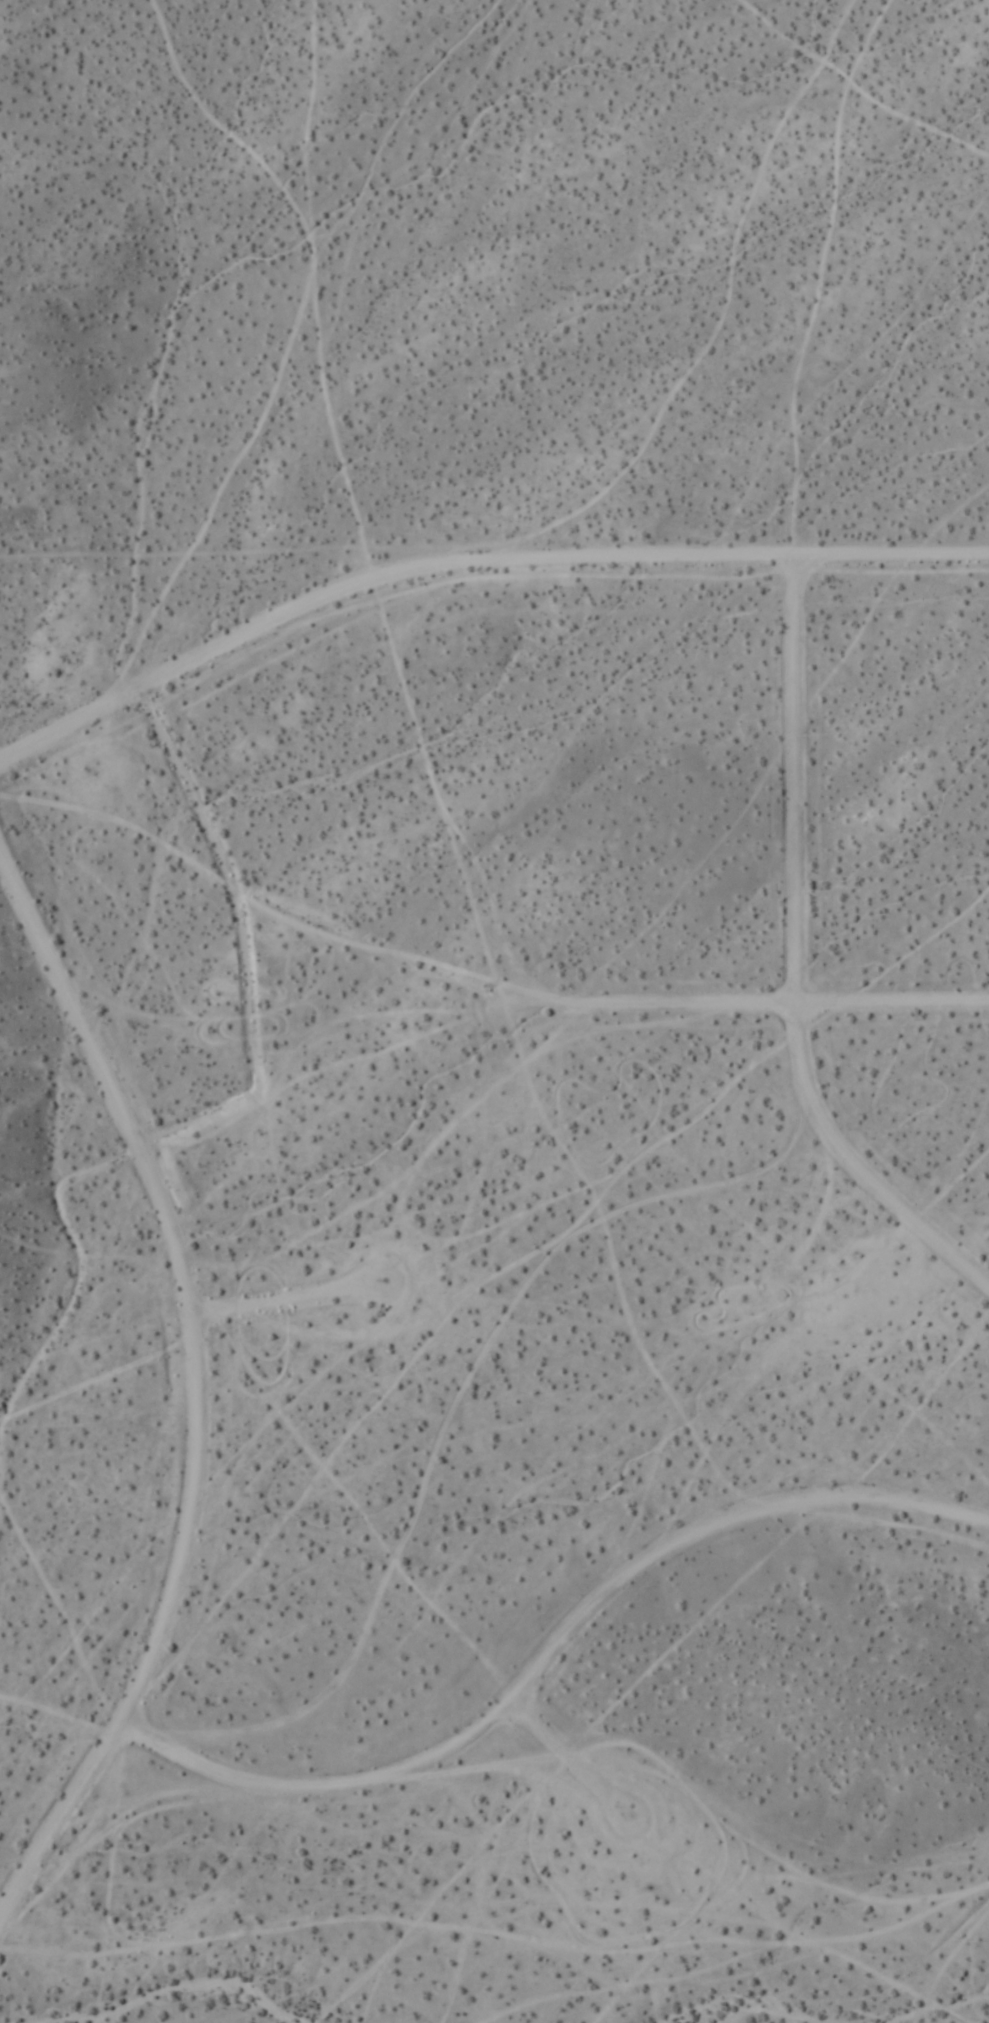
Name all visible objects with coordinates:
road: (472, 564)
road: (798, 959)
road: (768, 1009)
road: (280, 1302)
road: (199, 1400)
road: (553, 1658)
road: (573, 1764)

